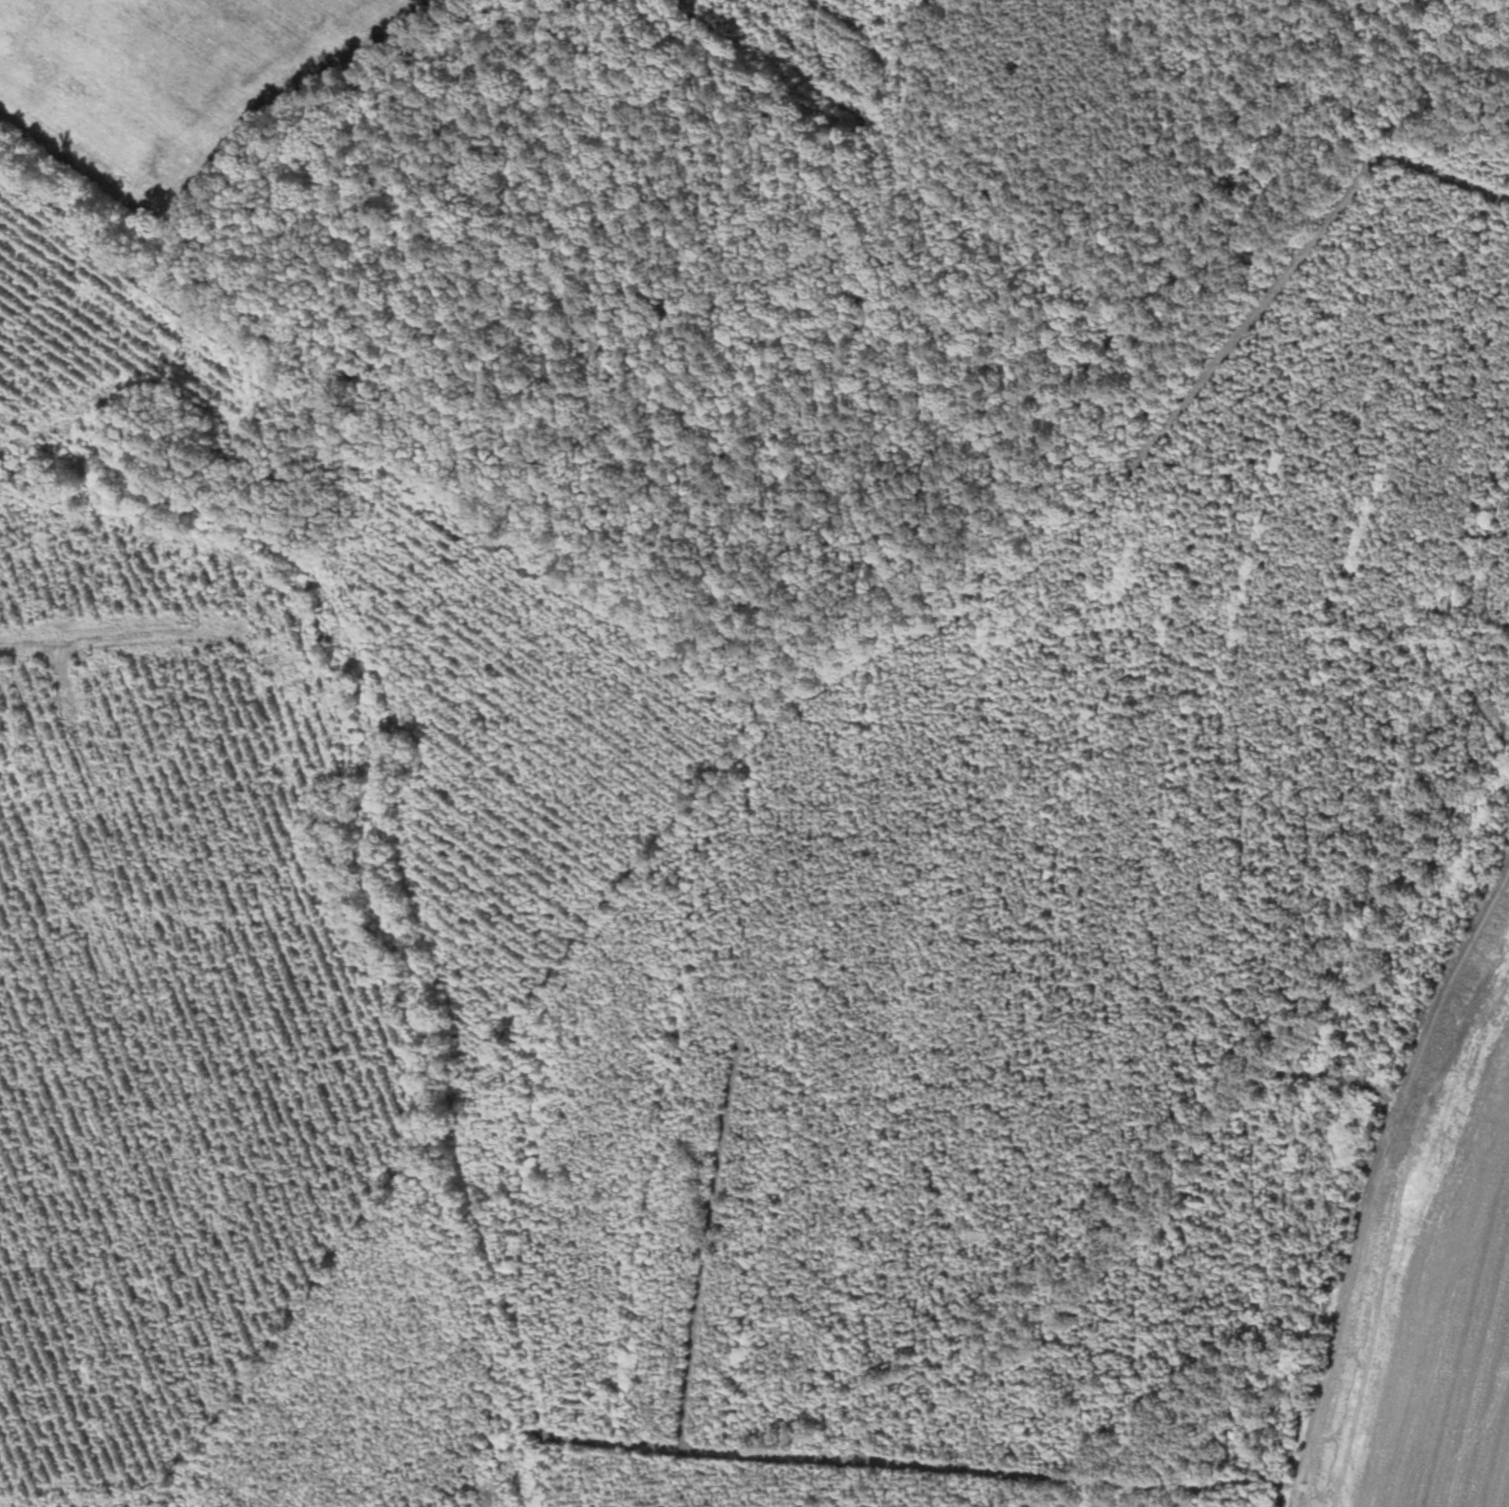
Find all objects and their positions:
road: (846, 19)

